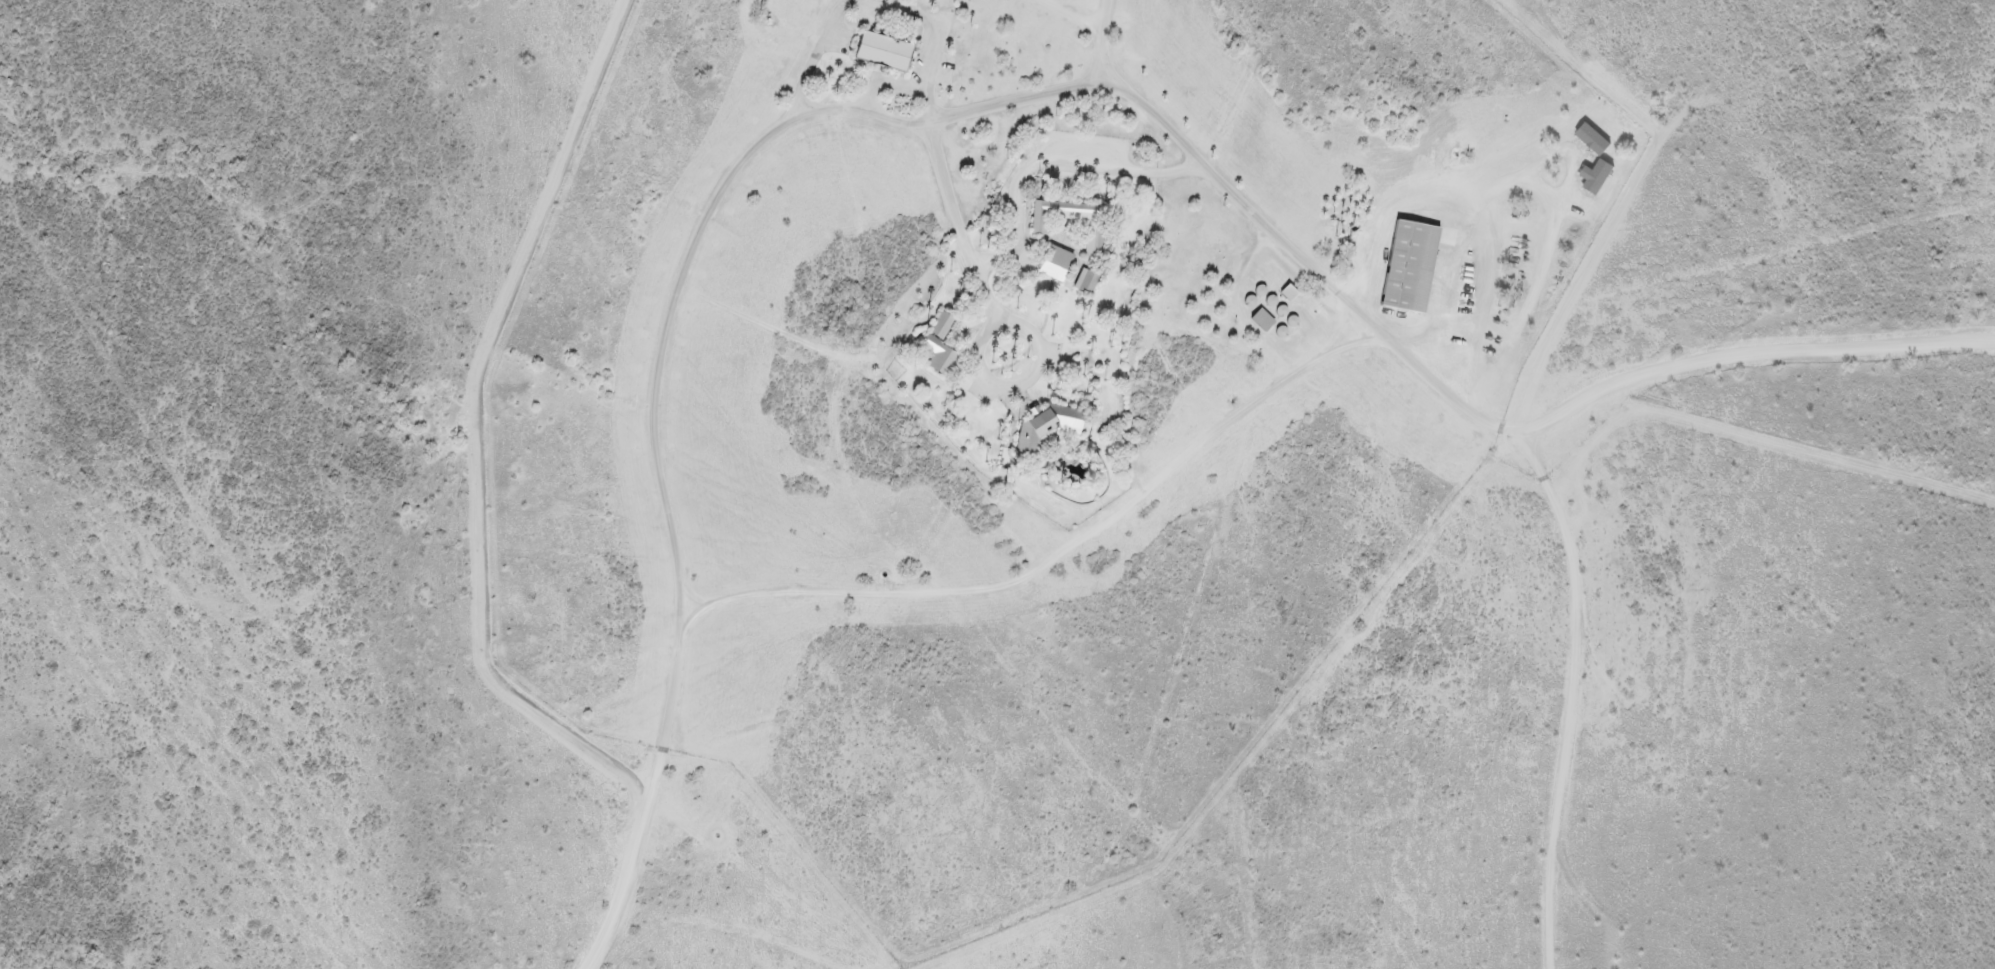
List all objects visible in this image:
road: (1104, 29)
building: (880, 45)
building: (1091, 221)
building: (1053, 256)
building: (1407, 258)
building: (1084, 273)
building: (1287, 286)
building: (1259, 313)
building: (937, 337)
road: (1755, 353)
road: (1480, 412)
building: (1045, 420)
road: (886, 601)

